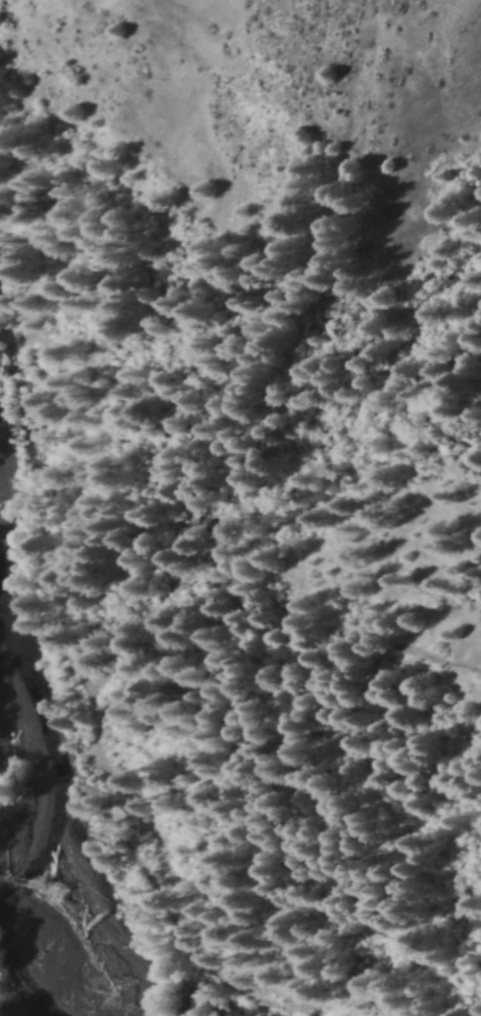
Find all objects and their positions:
river: (69, 802)

